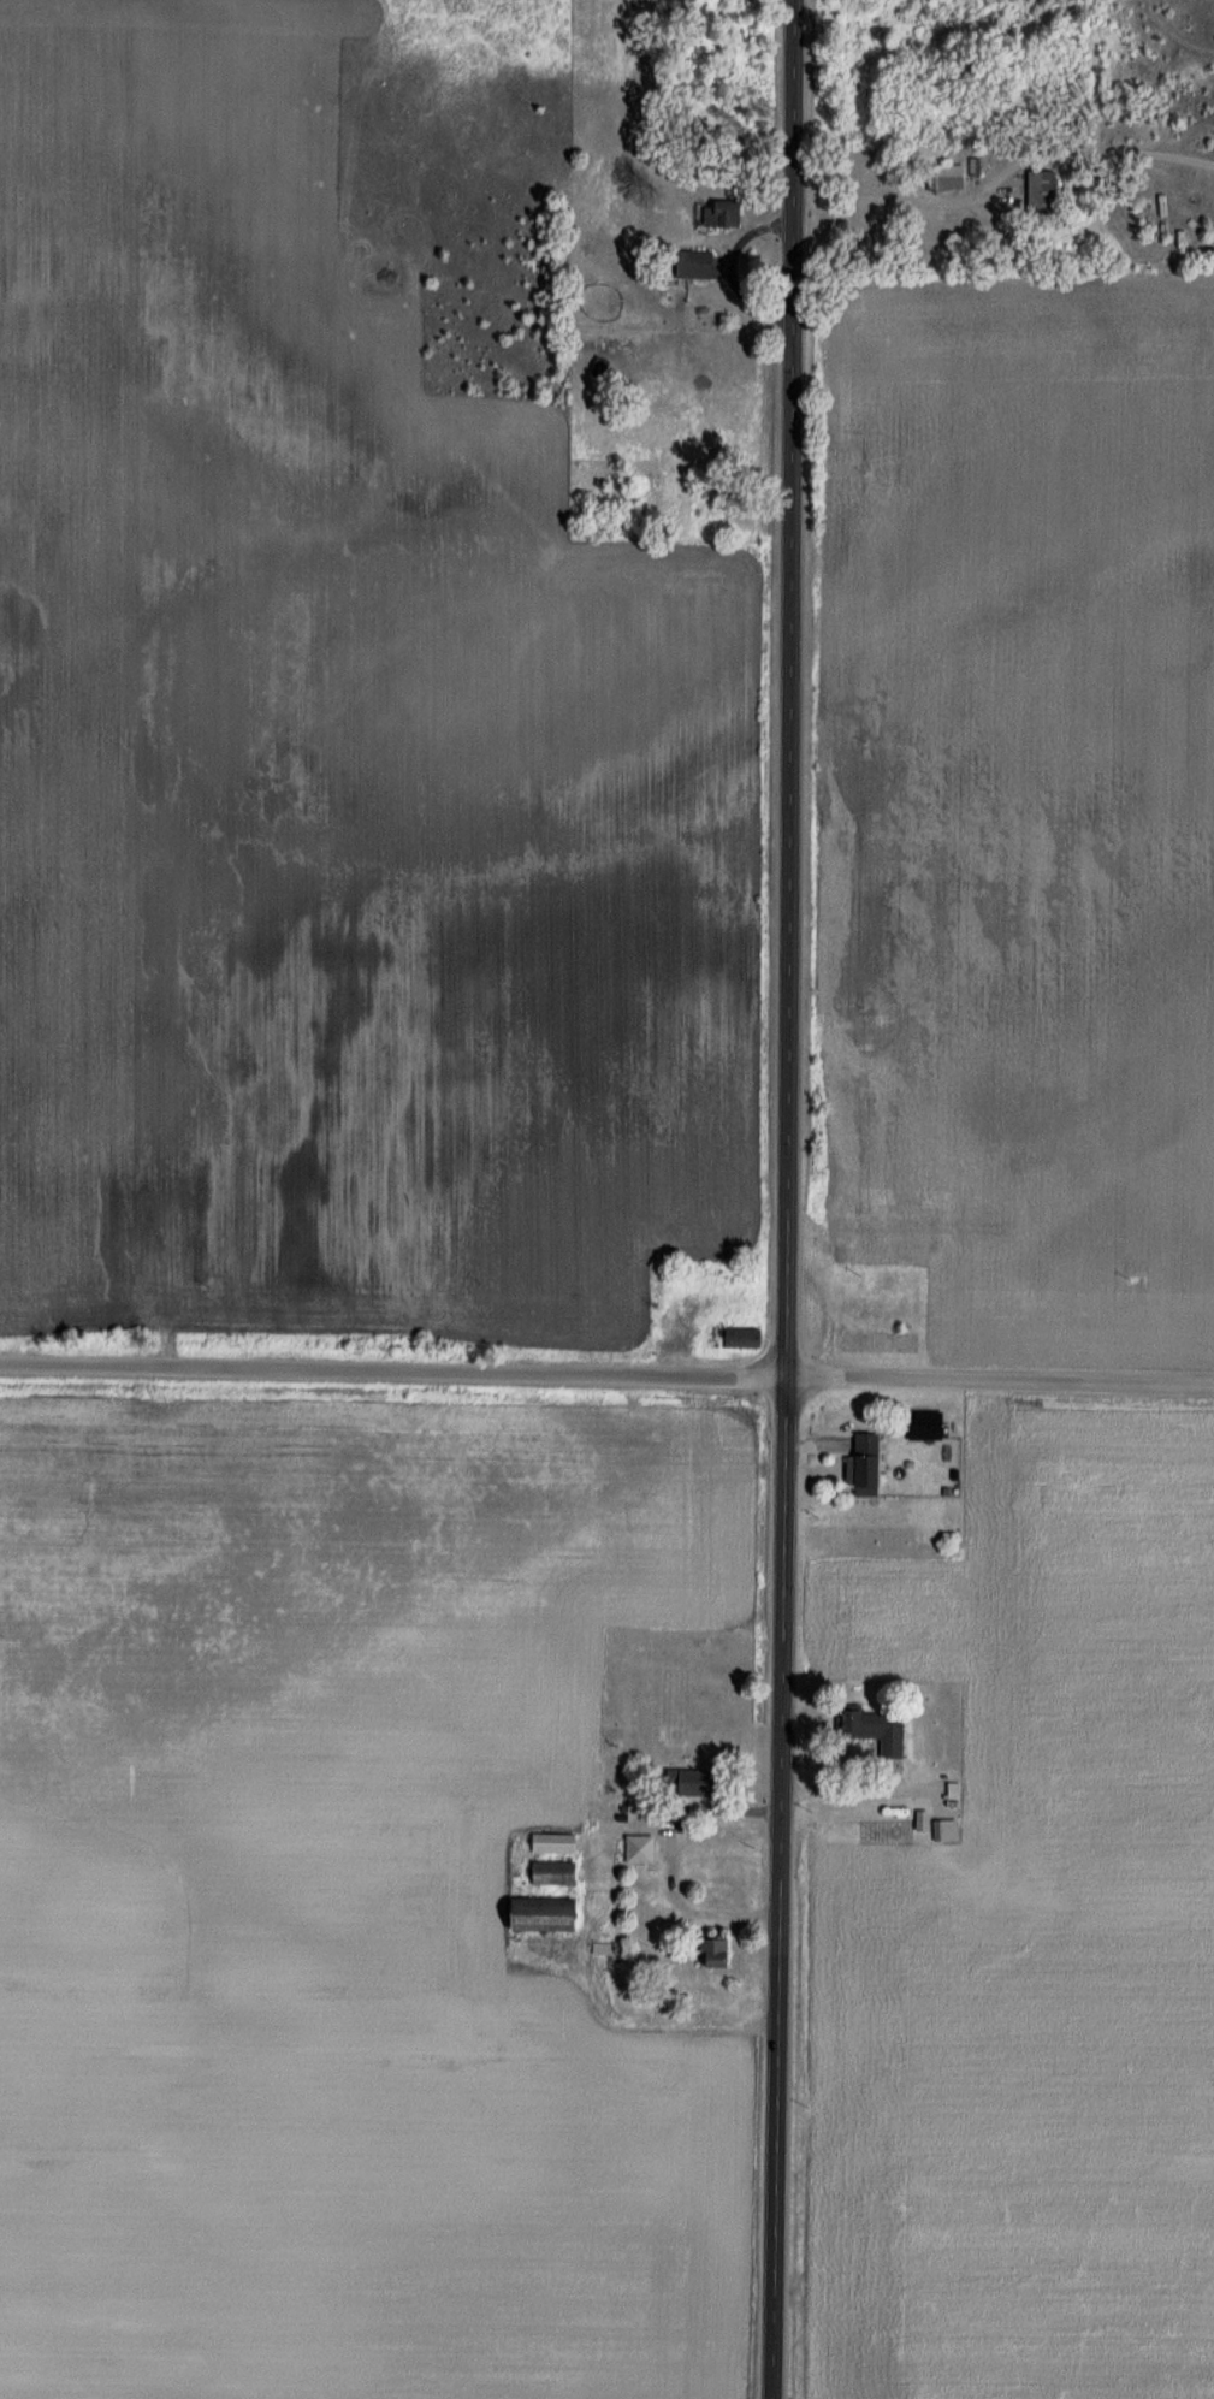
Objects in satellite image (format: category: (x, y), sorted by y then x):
building: (943, 178)
building: (1037, 191)
building: (1067, 191)
road: (949, 192)
building: (718, 215)
building: (1178, 241)
building: (689, 265)
road: (787, 1199)
building: (736, 1338)
road: (606, 1374)
building: (922, 1424)
building: (858, 1465)
building: (866, 1728)
building: (681, 1782)
building: (936, 1830)
building: (546, 1843)
building: (635, 1849)
building: (547, 1873)
building: (535, 1914)
building: (709, 1953)

